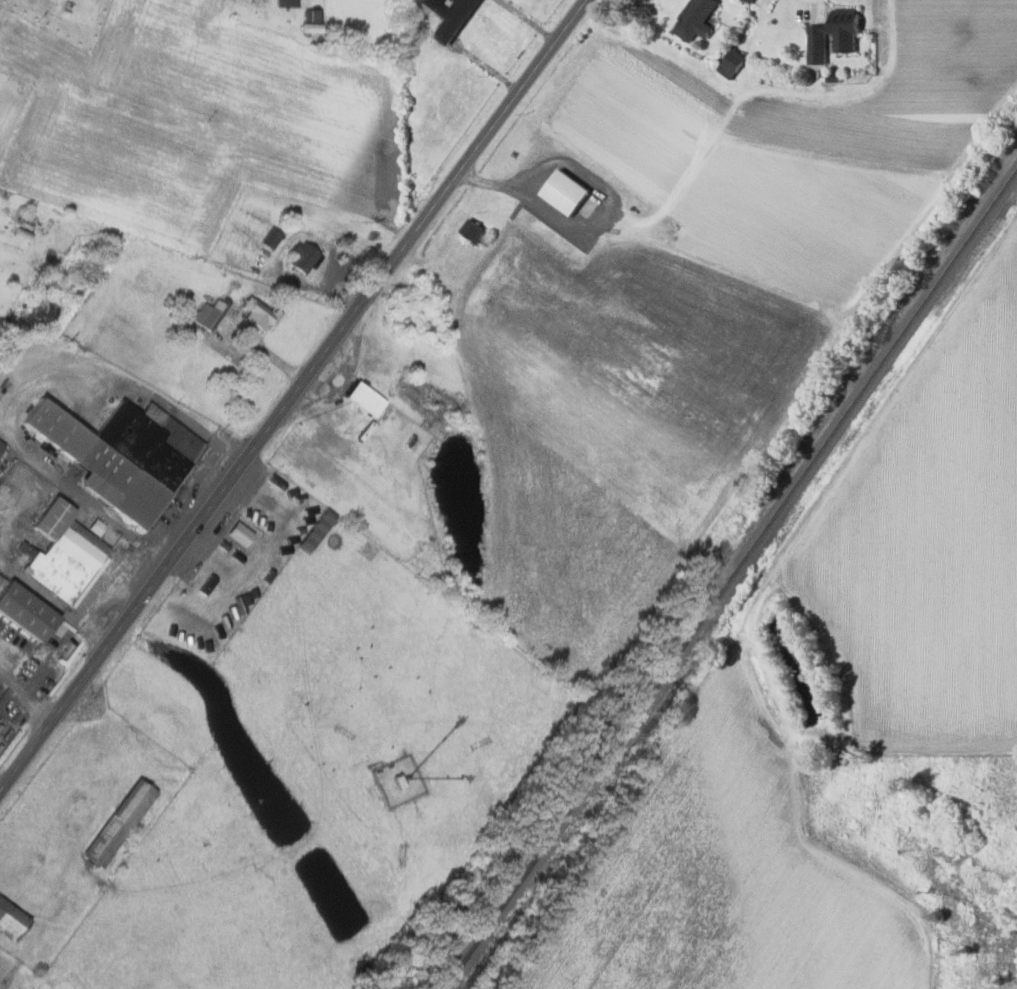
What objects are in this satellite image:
building: (285, 3)
building: (448, 16)
building: (694, 19)
road: (526, 21)
building: (843, 43)
building: (730, 63)
road: (486, 71)
road: (523, 190)
building: (563, 192)
building: (473, 232)
building: (302, 258)
building: (259, 314)
road: (20, 389)
road: (294, 398)
building: (364, 398)
building: (1, 445)
building: (120, 454)
road: (801, 498)
building: (316, 529)
building: (239, 533)
building: (63, 554)
railway: (728, 577)
building: (25, 611)
road: (27, 694)
road: (0, 793)
building: (118, 823)
building: (11, 921)

